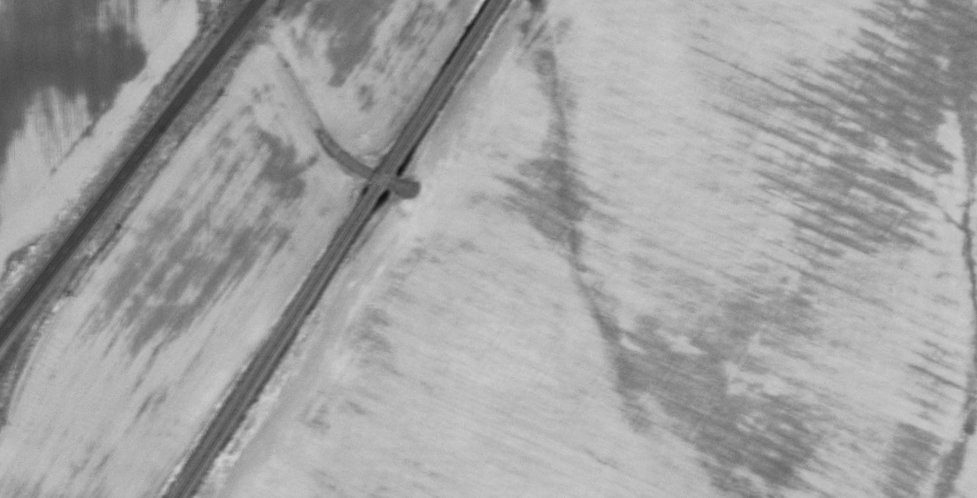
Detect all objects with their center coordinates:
road: (125, 164)
road: (373, 176)
railway: (333, 247)

